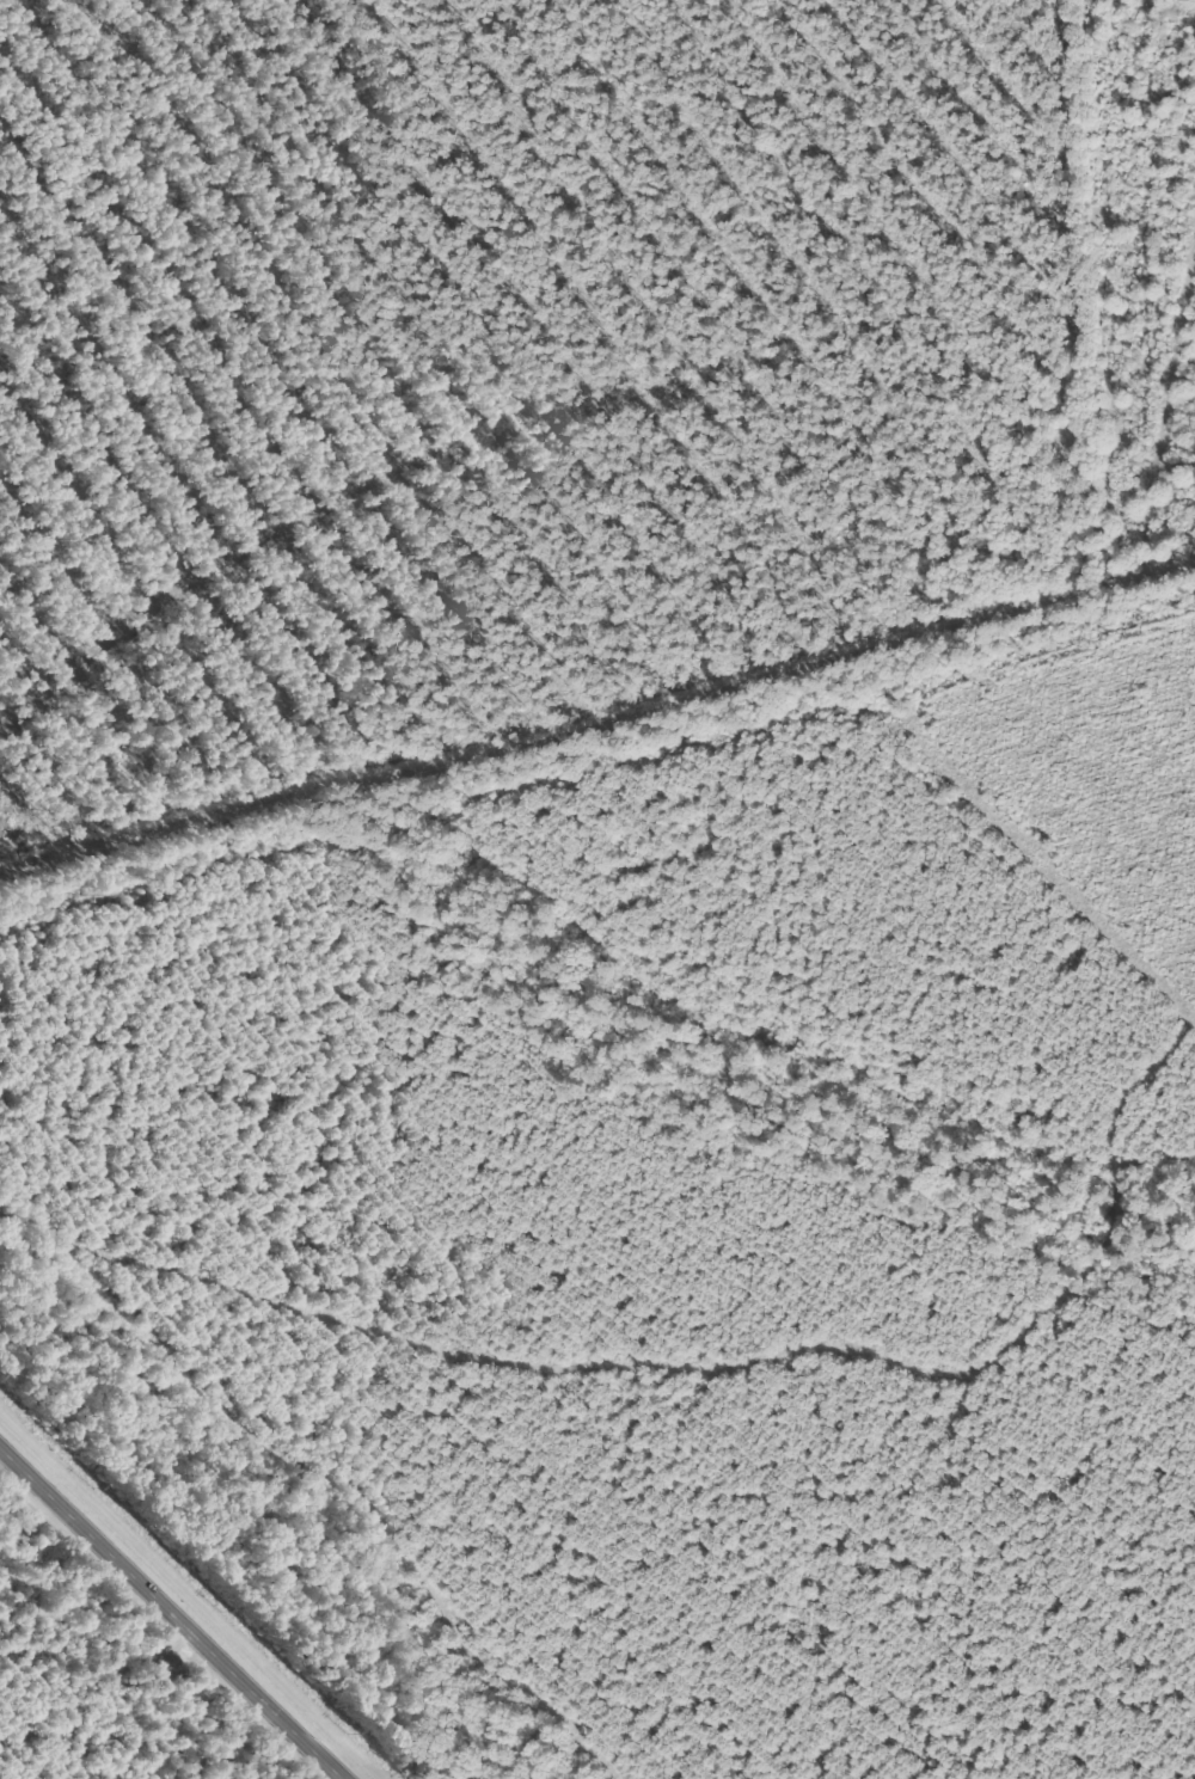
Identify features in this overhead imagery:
road: (11, 14)
road: (1110, 308)
road: (360, 370)
road: (600, 769)
railway: (191, 1593)
road: (170, 1613)

